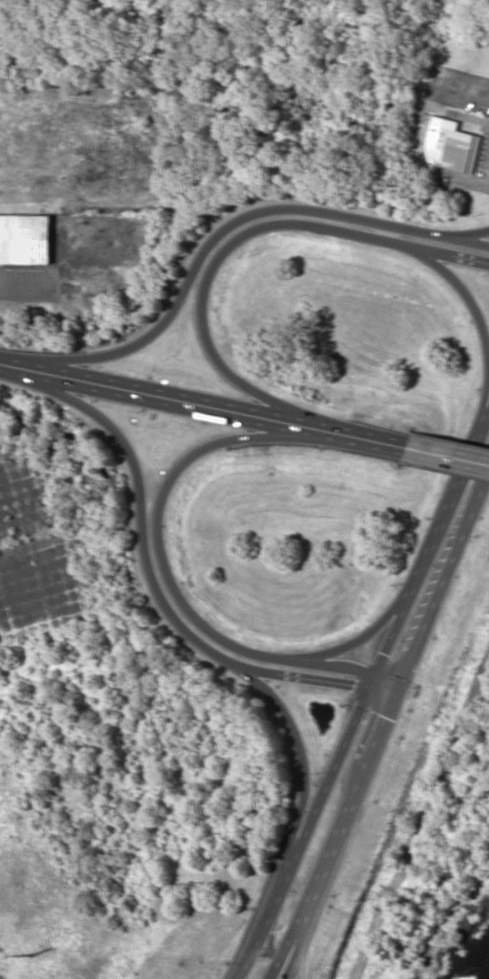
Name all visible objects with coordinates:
road: (83, 65)
road: (165, 96)
building: (453, 145)
road: (82, 192)
road: (220, 231)
road: (459, 234)
building: (25, 239)
road: (231, 240)
road: (479, 325)
road: (203, 404)
road: (448, 454)
road: (430, 543)
road: (445, 575)
road: (162, 577)
road: (148, 581)
road: (358, 638)
road: (300, 748)
road: (307, 826)
road: (338, 831)
power tower: (30, 956)
road: (285, 963)

